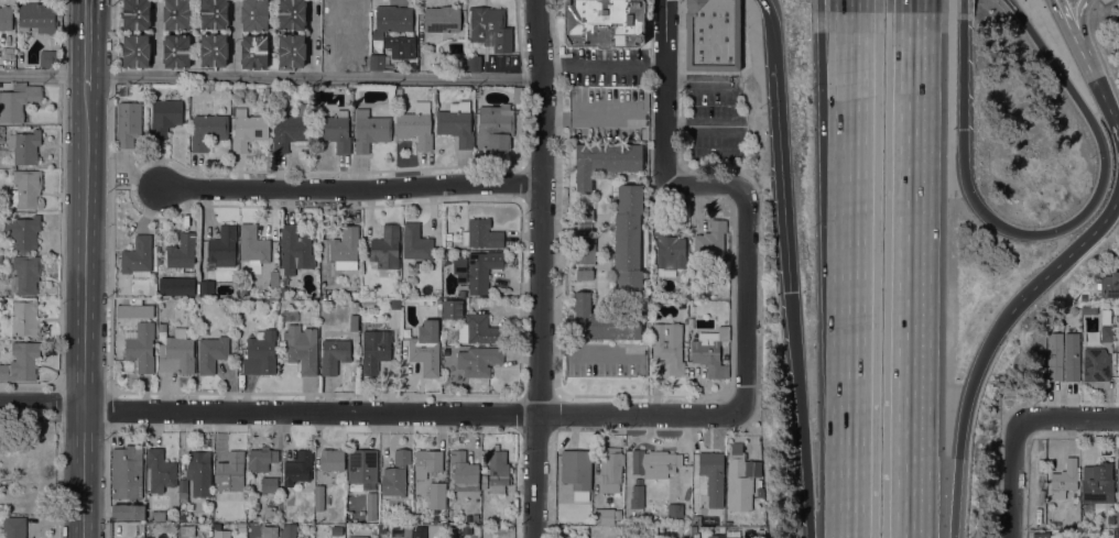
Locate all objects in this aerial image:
road: (1082, 4)
building: (214, 13)
road: (1067, 13)
building: (135, 14)
building: (176, 14)
building: (253, 14)
building: (292, 14)
road: (772, 15)
building: (6, 18)
building: (35, 18)
building: (442, 18)
road: (1076, 19)
building: (392, 20)
building: (346, 21)
building: (604, 23)
building: (490, 29)
building: (711, 35)
road: (87, 44)
road: (851, 48)
building: (213, 50)
building: (291, 50)
building: (135, 51)
building: (176, 51)
building: (253, 51)
building: (1117, 51)
road: (1085, 53)
building: (46, 58)
building: (377, 62)
building: (457, 63)
building: (472, 63)
road: (604, 65)
road: (271, 77)
road: (666, 92)
building: (398, 94)
building: (517, 95)
building: (17, 99)
road: (1108, 99)
road: (735, 103)
building: (164, 117)
building: (456, 122)
building: (128, 123)
building: (415, 125)
building: (495, 127)
traffic signals: (963, 128)
building: (290, 129)
building: (247, 130)
building: (334, 130)
building: (370, 130)
building: (208, 131)
building: (1, 133)
building: (24, 146)
building: (605, 161)
road: (785, 163)
road: (706, 186)
building: (24, 189)
road: (351, 190)
road: (1047, 231)
building: (22, 232)
building: (481, 234)
building: (448, 235)
building: (710, 239)
building: (627, 241)
building: (415, 242)
building: (447, 244)
building: (584, 244)
building: (253, 245)
building: (222, 246)
building: (294, 248)
building: (345, 249)
building: (385, 250)
building: (669, 250)
building: (182, 254)
building: (0, 257)
building: (138, 257)
road: (1067, 261)
road: (540, 268)
road: (859, 268)
road: (903, 268)
building: (476, 270)
building: (25, 274)
building: (1109, 284)
building: (205, 286)
building: (242, 288)
building: (284, 292)
traffic signals: (794, 293)
building: (355, 295)
road: (748, 301)
building: (453, 308)
building: (1089, 310)
road: (84, 312)
building: (120, 314)
building: (352, 314)
building: (1106, 316)
building: (1118, 317)
building: (22, 319)
building: (602, 321)
building: (161, 327)
building: (478, 329)
building: (1107, 333)
building: (140, 345)
building: (669, 347)
building: (301, 348)
building: (425, 348)
building: (709, 351)
building: (175, 353)
building: (211, 353)
building: (260, 353)
building: (334, 354)
building: (373, 354)
building: (1054, 355)
building: (1072, 356)
building: (480, 359)
building: (21, 361)
building: (1095, 364)
building: (1118, 366)
road: (974, 382)
road: (42, 402)
road: (802, 402)
road: (415, 415)
road: (1069, 417)
building: (261, 458)
building: (332, 459)
building: (427, 461)
building: (579, 461)
building: (654, 463)
building: (611, 464)
building: (361, 465)
building: (297, 468)
building: (497, 468)
building: (161, 470)
building: (228, 470)
building: (199, 472)
building: (464, 472)
building: (395, 474)
building: (713, 476)
road: (1012, 477)
building: (740, 479)
building: (1064, 479)
building: (1117, 479)
building: (484, 481)
building: (127, 482)
building: (1097, 483)
building: (269, 484)
building: (183, 490)
building: (637, 494)
building: (436, 495)
building: (318, 497)
road: (950, 497)
building: (253, 505)
building: (371, 506)
building: (269, 510)
building: (674, 510)
building: (157, 515)
building: (606, 515)
building: (696, 518)
building: (1117, 518)
road: (813, 524)
building: (13, 527)
building: (240, 527)
building: (289, 530)
building: (337, 530)
building: (419, 530)
building: (268, 531)
building: (399, 531)
building: (450, 532)
building: (221, 534)
building: (731, 534)
building: (1040, 535)
building: (1072, 535)
building: (715, 536)
building: (148, 537)
building: (357, 537)

